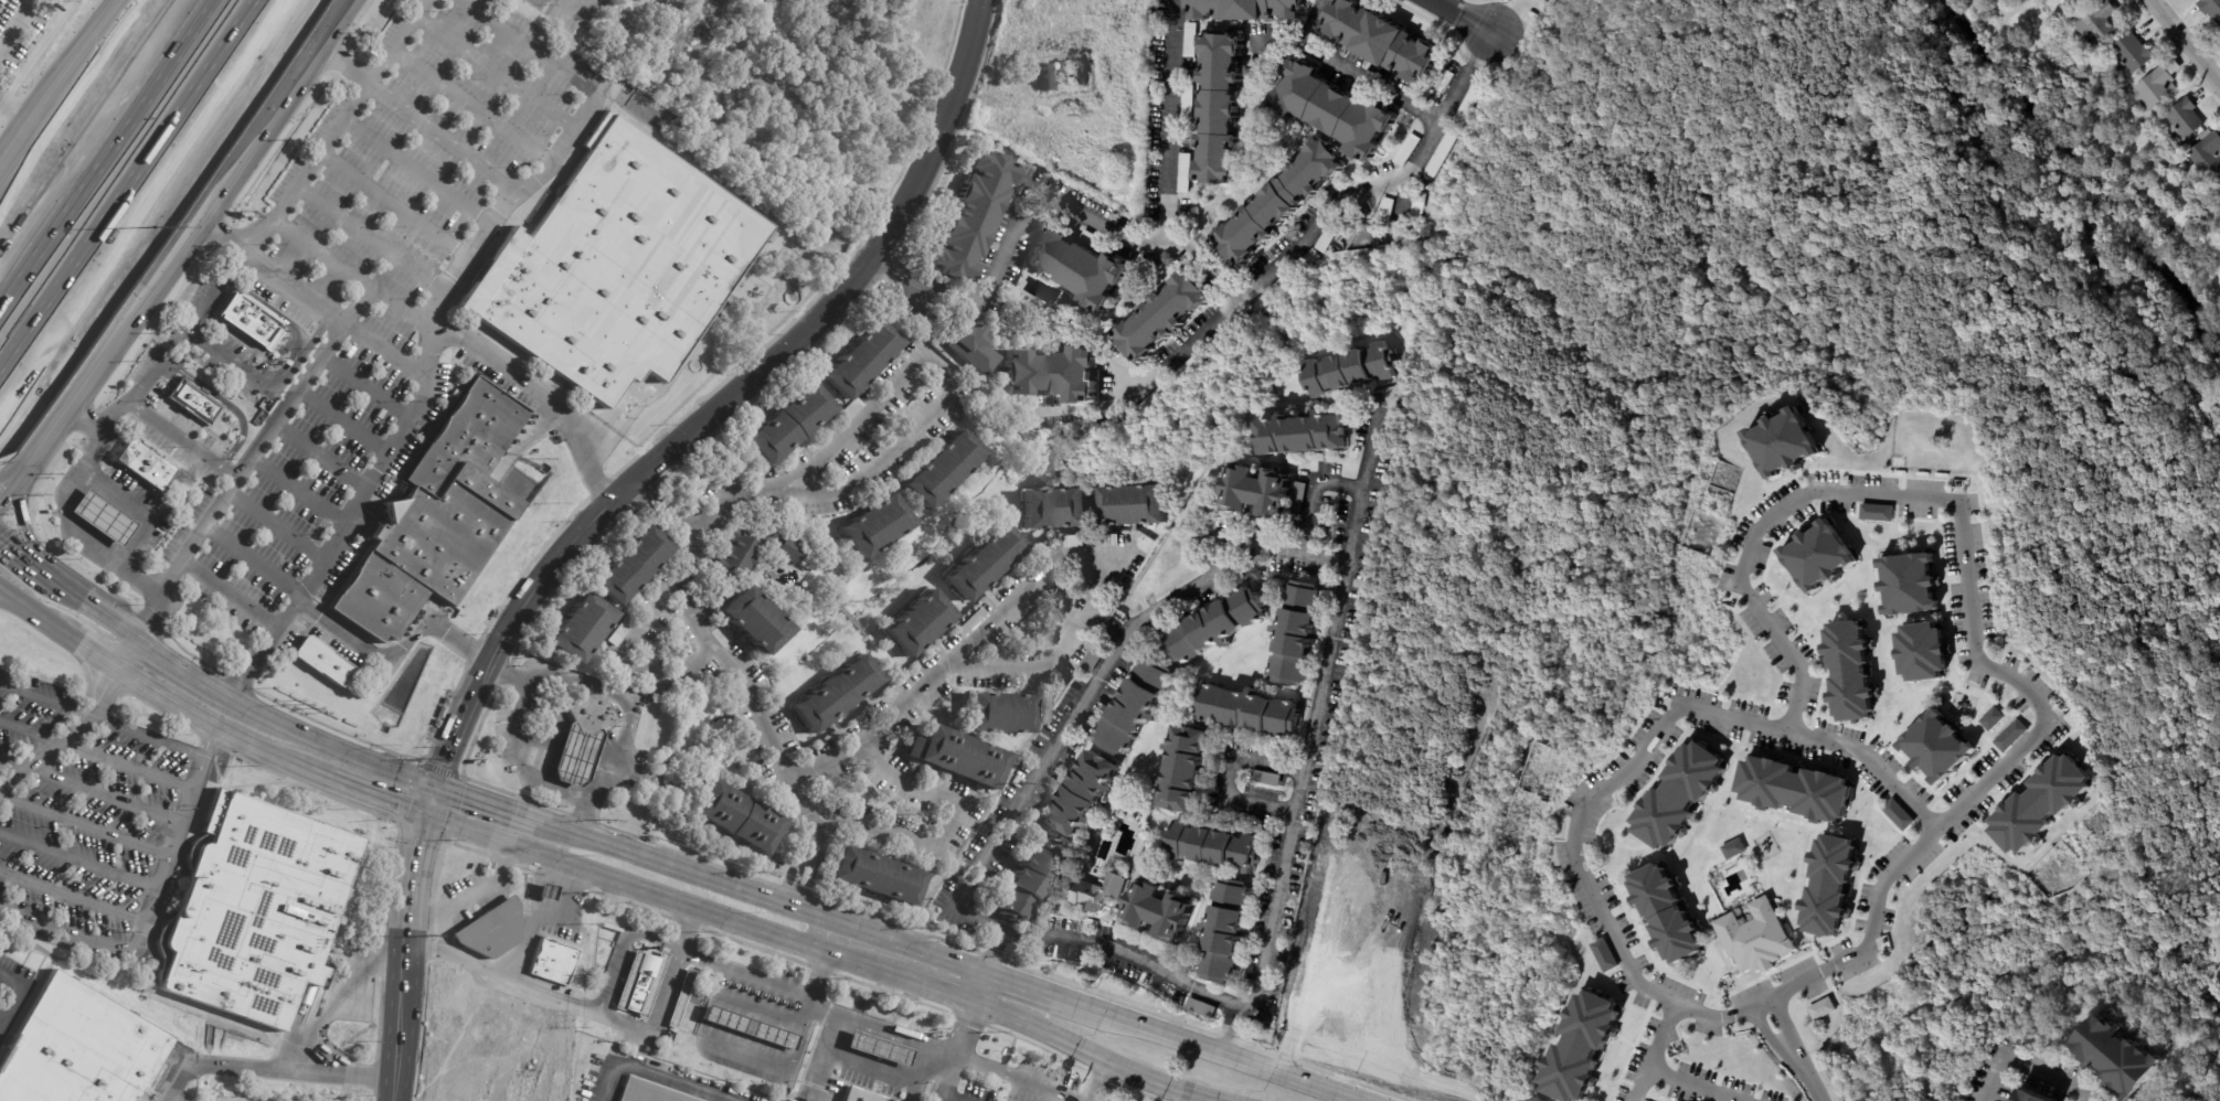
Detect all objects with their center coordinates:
building: (2076, 2)
building: (1244, 9)
road: (571, 10)
building: (2210, 10)
road: (1465, 17)
road: (1505, 17)
road: (13, 20)
building: (2095, 24)
road: (2187, 39)
building: (1192, 40)
road: (1278, 41)
building: (1381, 41)
road: (1485, 46)
road: (528, 47)
building: (2128, 54)
building: (1273, 60)
road: (79, 63)
road: (344, 65)
road: (296, 67)
road: (304, 68)
road: (1347, 70)
building: (1257, 72)
road: (496, 74)
building: (1445, 82)
building: (2155, 86)
road: (1456, 92)
building: (2121, 96)
building: (1189, 103)
road: (474, 106)
building: (1467, 106)
building: (1218, 108)
building: (1335, 111)
road: (18, 115)
road: (1169, 120)
building: (2180, 121)
road: (337, 126)
road: (443, 136)
road: (99, 145)
building: (1408, 150)
road: (18, 151)
building: (1443, 151)
building: (2205, 156)
road: (230, 168)
road: (416, 171)
building: (1186, 173)
building: (2218, 182)
road: (132, 194)
road: (1033, 197)
building: (1279, 200)
road: (392, 204)
building: (1387, 210)
building: (1417, 211)
building: (974, 216)
road: (369, 238)
building: (1328, 239)
building: (1094, 242)
building: (1169, 258)
building: (1308, 263)
road: (227, 264)
building: (615, 265)
building: (1079, 268)
road: (351, 272)
road: (1246, 292)
building: (1273, 293)
road: (309, 295)
road: (273, 310)
building: (1160, 316)
building: (251, 320)
road: (115, 335)
road: (790, 346)
building: (975, 348)
building: (273, 357)
building: (861, 361)
building: (1348, 367)
building: (1054, 370)
building: (1188, 370)
road: (152, 372)
road: (268, 378)
road: (367, 386)
road: (422, 396)
building: (1155, 398)
road: (537, 400)
building: (194, 403)
road: (225, 403)
building: (848, 415)
road: (344, 420)
building: (788, 425)
building: (1303, 432)
road: (182, 439)
building: (1781, 441)
road: (321, 457)
road: (248, 460)
building: (145, 464)
building: (944, 471)
road: (11, 473)
road: (11, 487)
road: (785, 488)
road: (299, 491)
building: (1263, 491)
building: (1132, 505)
building: (1208, 505)
road: (659, 506)
building: (1055, 509)
road: (1951, 509)
building: (1874, 513)
road: (1307, 516)
building: (436, 519)
building: (102, 520)
road: (277, 526)
building: (878, 526)
road: (23, 531)
building: (1111, 541)
building: (1076, 542)
building: (752, 549)
building: (1816, 554)
road: (105, 559)
road: (254, 559)
building: (985, 563)
road: (28, 564)
building: (630, 565)
building: (1254, 574)
road: (137, 581)
building: (1908, 581)
road: (1033, 582)
road: (4, 590)
road: (230, 594)
road: (20, 600)
road: (14, 603)
road: (96, 610)
road: (45, 617)
building: (754, 621)
building: (918, 622)
building: (971, 622)
building: (1217, 626)
building: (578, 630)
building: (623, 630)
building: (1297, 632)
road: (499, 644)
road: (91, 645)
road: (129, 651)
building: (1922, 651)
road: (395, 653)
building: (1093, 658)
building: (321, 661)
road: (627, 662)
road: (1103, 666)
road: (507, 670)
building: (1850, 675)
road: (569, 678)
road: (200, 680)
building: (837, 695)
road: (470, 701)
building: (1135, 706)
building: (1249, 712)
building: (442, 713)
building: (999, 713)
road: (1722, 713)
road: (100, 719)
building: (1990, 719)
road: (222, 728)
road: (68, 733)
building: (2009, 736)
building: (582, 740)
building: (1936, 745)
road: (619, 751)
road: (349, 753)
road: (96, 755)
building: (957, 756)
road: (524, 763)
road: (445, 766)
building: (1185, 771)
road: (1230, 777)
building: (1267, 780)
building: (1795, 787)
traffic signals: (437, 788)
road: (91, 790)
road: (1298, 791)
building: (1678, 793)
building: (1083, 794)
road: (380, 795)
road: (432, 801)
building: (2041, 803)
road: (486, 804)
traffic signals: (427, 814)
building: (1897, 814)
road: (586, 819)
building: (739, 820)
road: (85, 825)
road: (176, 836)
road: (918, 840)
building: (1215, 848)
building: (1732, 848)
road: (81, 859)
building: (1031, 879)
building: (877, 880)
building: (1827, 883)
road: (649, 890)
building: (1093, 890)
road: (468, 892)
building: (545, 892)
road: (758, 896)
road: (73, 897)
building: (1160, 910)
building: (251, 911)
road: (969, 912)
building: (1665, 912)
road: (539, 916)
road: (687, 928)
building: (1225, 929)
road: (442, 930)
building: (491, 930)
road: (66, 931)
building: (1754, 936)
road: (1030, 937)
road: (624, 947)
building: (555, 954)
road: (403, 955)
building: (1602, 955)
road: (502, 975)
road: (816, 975)
road: (11, 981)
building: (641, 983)
road: (922, 984)
road: (1021, 985)
road: (1798, 986)
road: (978, 987)
building: (682, 998)
road: (2214, 1004)
road: (11, 1006)
road: (329, 1006)
building: (1820, 1008)
building: (1202, 1009)
road: (1700, 1011)
road: (1235, 1012)
road: (657, 1015)
road: (772, 1016)
road: (1, 1022)
building: (752, 1029)
road: (881, 1029)
road: (1226, 1035)
road: (1785, 1035)
building: (1579, 1046)
road: (1209, 1048)
building: (880, 1049)
road: (957, 1050)
road: (1654, 1050)
building: (75, 1054)
road: (1092, 1054)
building: (2113, 1058)
road: (872, 1059)
road: (2195, 1067)
road: (274, 1069)
road: (2026, 1069)
road: (655, 1075)
road: (1096, 1080)
road: (1685, 1087)
building: (650, 1092)
building: (861, 1094)
building: (2027, 1097)

